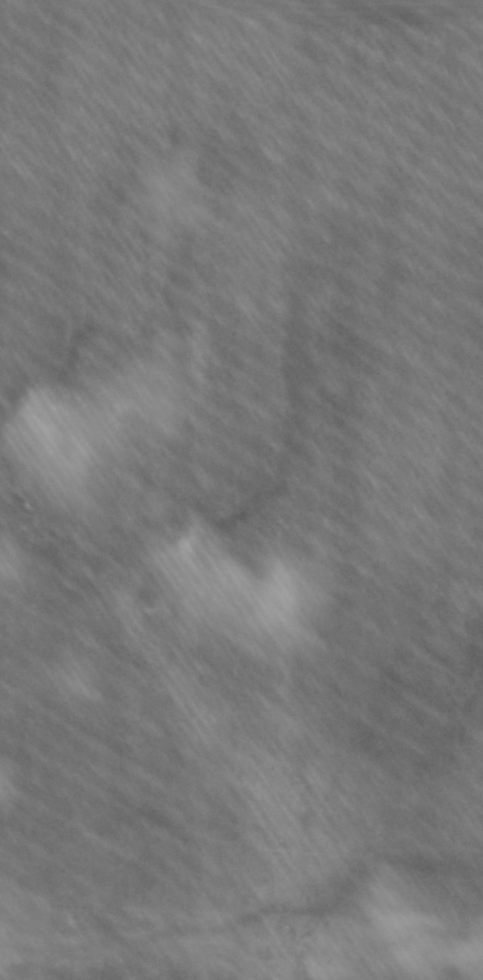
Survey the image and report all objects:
road: (241, 944)

